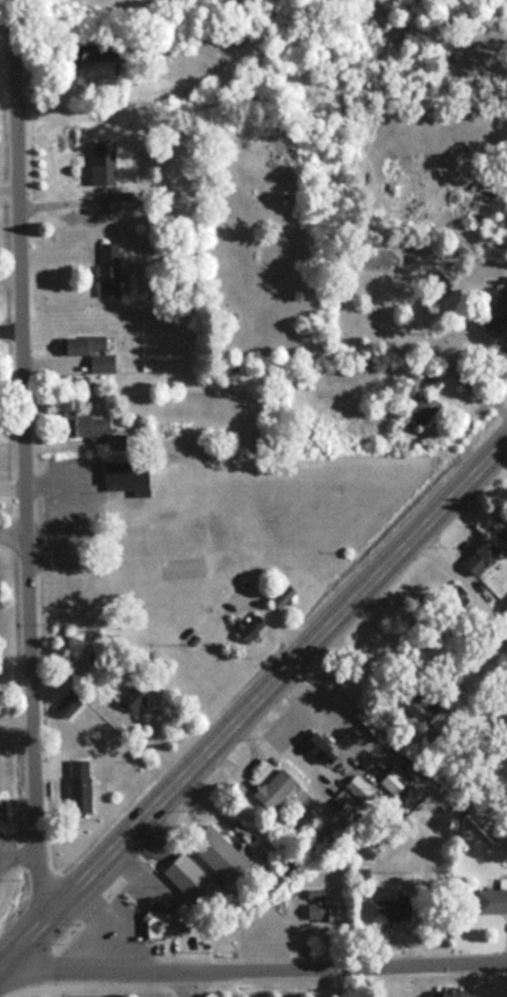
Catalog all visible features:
park: (244, 2)
building: (104, 172)
building: (392, 201)
building: (103, 268)
road: (9, 273)
building: (95, 351)
building: (418, 409)
building: (91, 421)
road: (22, 456)
building: (142, 477)
building: (474, 557)
building: (284, 594)
building: (256, 624)
road: (254, 700)
building: (318, 744)
building: (279, 789)
building: (83, 794)
building: (211, 864)
building: (495, 900)
building: (321, 908)
building: (394, 909)
building: (161, 922)
road: (253, 968)
road: (179, 983)
road: (197, 983)
building: (455, 993)

